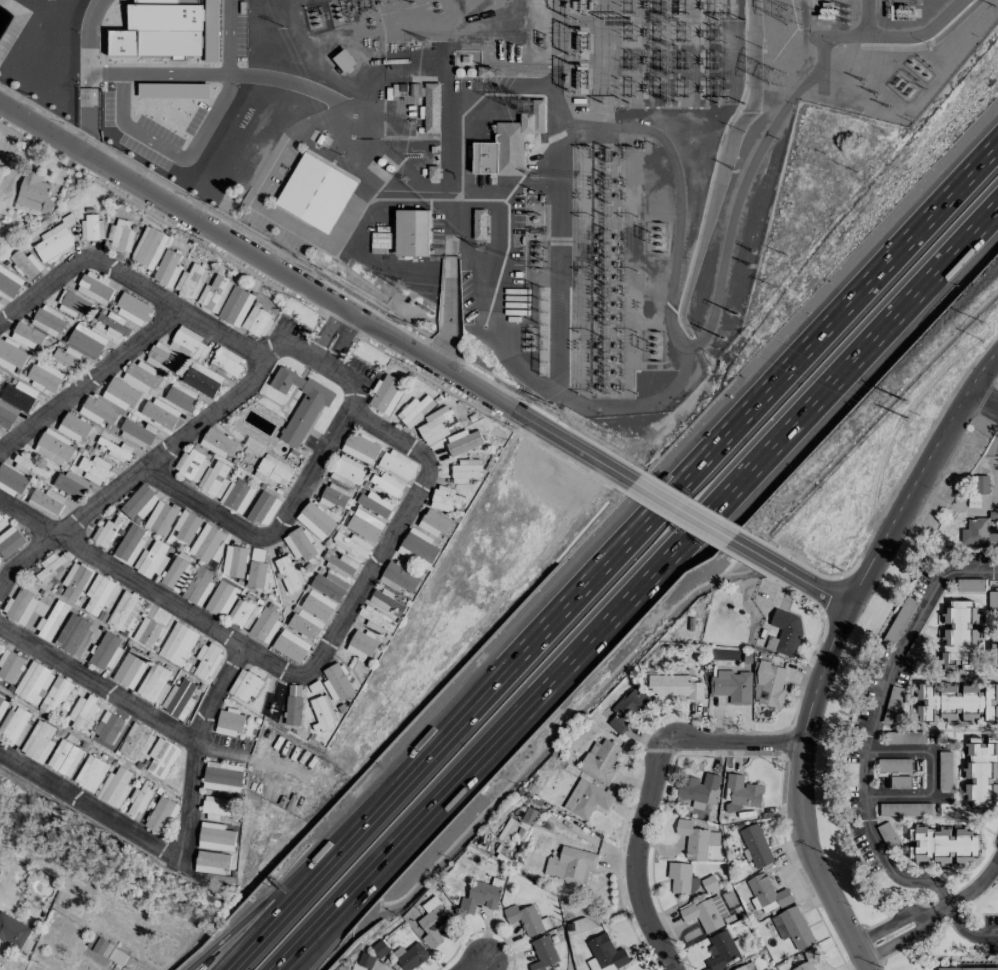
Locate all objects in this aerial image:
power tower: (786, 13)
building: (158, 30)
building: (211, 31)
road: (88, 36)
power tower: (424, 39)
power tower: (541, 39)
building: (344, 60)
power tower: (496, 71)
power tower: (774, 75)
road: (322, 91)
power tower: (874, 92)
building: (431, 108)
road: (89, 121)
road: (600, 128)
road: (197, 139)
building: (508, 142)
power substation: (511, 159)
power tower: (736, 171)
building: (432, 172)
power tower: (532, 175)
power tower: (404, 179)
building: (315, 192)
building: (33, 195)
road: (736, 198)
building: (479, 224)
building: (92, 228)
building: (411, 233)
building: (120, 234)
building: (54, 240)
building: (381, 241)
building: (148, 248)
power tower: (476, 248)
building: (25, 264)
building: (167, 268)
power tower: (534, 270)
road: (124, 279)
building: (191, 281)
power tower: (396, 281)
building: (9, 282)
building: (213, 294)
road: (317, 295)
building: (72, 304)
power tower: (537, 305)
building: (235, 306)
building: (132, 309)
road: (449, 310)
building: (50, 321)
building: (256, 321)
building: (113, 324)
road: (492, 327)
building: (26, 335)
building: (86, 340)
road: (311, 354)
building: (10, 355)
building: (163, 358)
building: (65, 359)
building: (193, 360)
building: (226, 360)
building: (44, 376)
building: (141, 377)
road: (88, 381)
building: (119, 394)
building: (386, 394)
building: (18, 395)
road: (984, 398)
building: (300, 403)
building: (414, 410)
building: (96, 411)
building: (159, 413)
building: (6, 415)
building: (436, 424)
building: (72, 427)
building: (135, 433)
building: (108, 438)
building: (217, 443)
building: (464, 443)
building: (53, 447)
building: (360, 447)
building: (115, 449)
building: (25, 464)
building: (190, 465)
building: (396, 465)
building: (93, 469)
building: (465, 470)
building: (273, 471)
building: (346, 471)
building: (214, 479)
building: (11, 481)
building: (70, 483)
building: (980, 484)
building: (384, 487)
building: (239, 496)
building: (333, 496)
building: (445, 498)
building: (50, 502)
building: (139, 502)
building: (374, 504)
building: (263, 508)
road: (681, 512)
building: (160, 517)
building: (1, 520)
building: (315, 520)
building: (435, 523)
building: (364, 525)
building: (185, 527)
building: (106, 531)
road: (268, 532)
road: (391, 533)
building: (978, 533)
road: (47, 540)
building: (10, 541)
building: (205, 543)
building: (129, 544)
building: (298, 544)
building: (351, 545)
building: (418, 547)
road: (614, 555)
building: (151, 559)
building: (225, 560)
building: (237, 562)
building: (339, 564)
building: (51, 567)
building: (288, 573)
building: (175, 574)
building: (256, 574)
road: (787, 575)
building: (398, 577)
building: (75, 581)
road: (636, 584)
building: (198, 585)
building: (969, 585)
building: (328, 586)
building: (100, 596)
building: (220, 598)
building: (992, 600)
building: (384, 601)
building: (318, 604)
building: (123, 611)
building: (241, 613)
building: (35, 614)
building: (373, 618)
building: (899, 620)
building: (265, 623)
building: (305, 624)
building: (786, 630)
road: (215, 631)
building: (146, 632)
building: (960, 634)
building: (77, 636)
building: (177, 644)
building: (361, 644)
building: (290, 646)
road: (828, 648)
building: (916, 648)
building: (202, 661)
building: (997, 661)
building: (9, 665)
building: (129, 668)
building: (336, 682)
building: (34, 683)
building: (153, 683)
building: (770, 683)
building: (245, 685)
road: (97, 686)
building: (314, 686)
building: (673, 686)
building: (55, 695)
building: (177, 699)
building: (946, 702)
building: (989, 703)
building: (293, 705)
building: (892, 705)
building: (626, 708)
building: (81, 709)
building: (322, 713)
building: (229, 722)
building: (13, 725)
road: (873, 725)
building: (108, 727)
building: (905, 737)
road: (730, 740)
building: (38, 741)
building: (136, 743)
building: (162, 757)
building: (64, 758)
building: (600, 760)
building: (895, 765)
building: (944, 765)
building: (981, 771)
building: (90, 773)
road: (930, 776)
building: (222, 777)
building: (899, 782)
building: (114, 787)
building: (700, 789)
building: (741, 793)
building: (138, 799)
building: (586, 799)
building: (217, 808)
building: (904, 809)
building: (160, 814)
building: (507, 829)
building: (214, 837)
building: (696, 839)
building: (756, 845)
building: (943, 845)
road: (635, 857)
building: (210, 862)
building: (570, 864)
building: (682, 878)
building: (709, 883)
building: (765, 895)
building: (479, 896)
road: (947, 902)
building: (706, 913)
building: (526, 919)
building: (432, 921)
building: (792, 927)
road: (902, 927)
building: (12, 930)
building: (379, 948)
building: (723, 950)
building: (543, 953)
building: (604, 955)
building: (410, 956)
building: (809, 959)
building: (365, 960)
building: (745, 966)
road: (477, 968)
building: (967, 968)
building: (370, 969)

